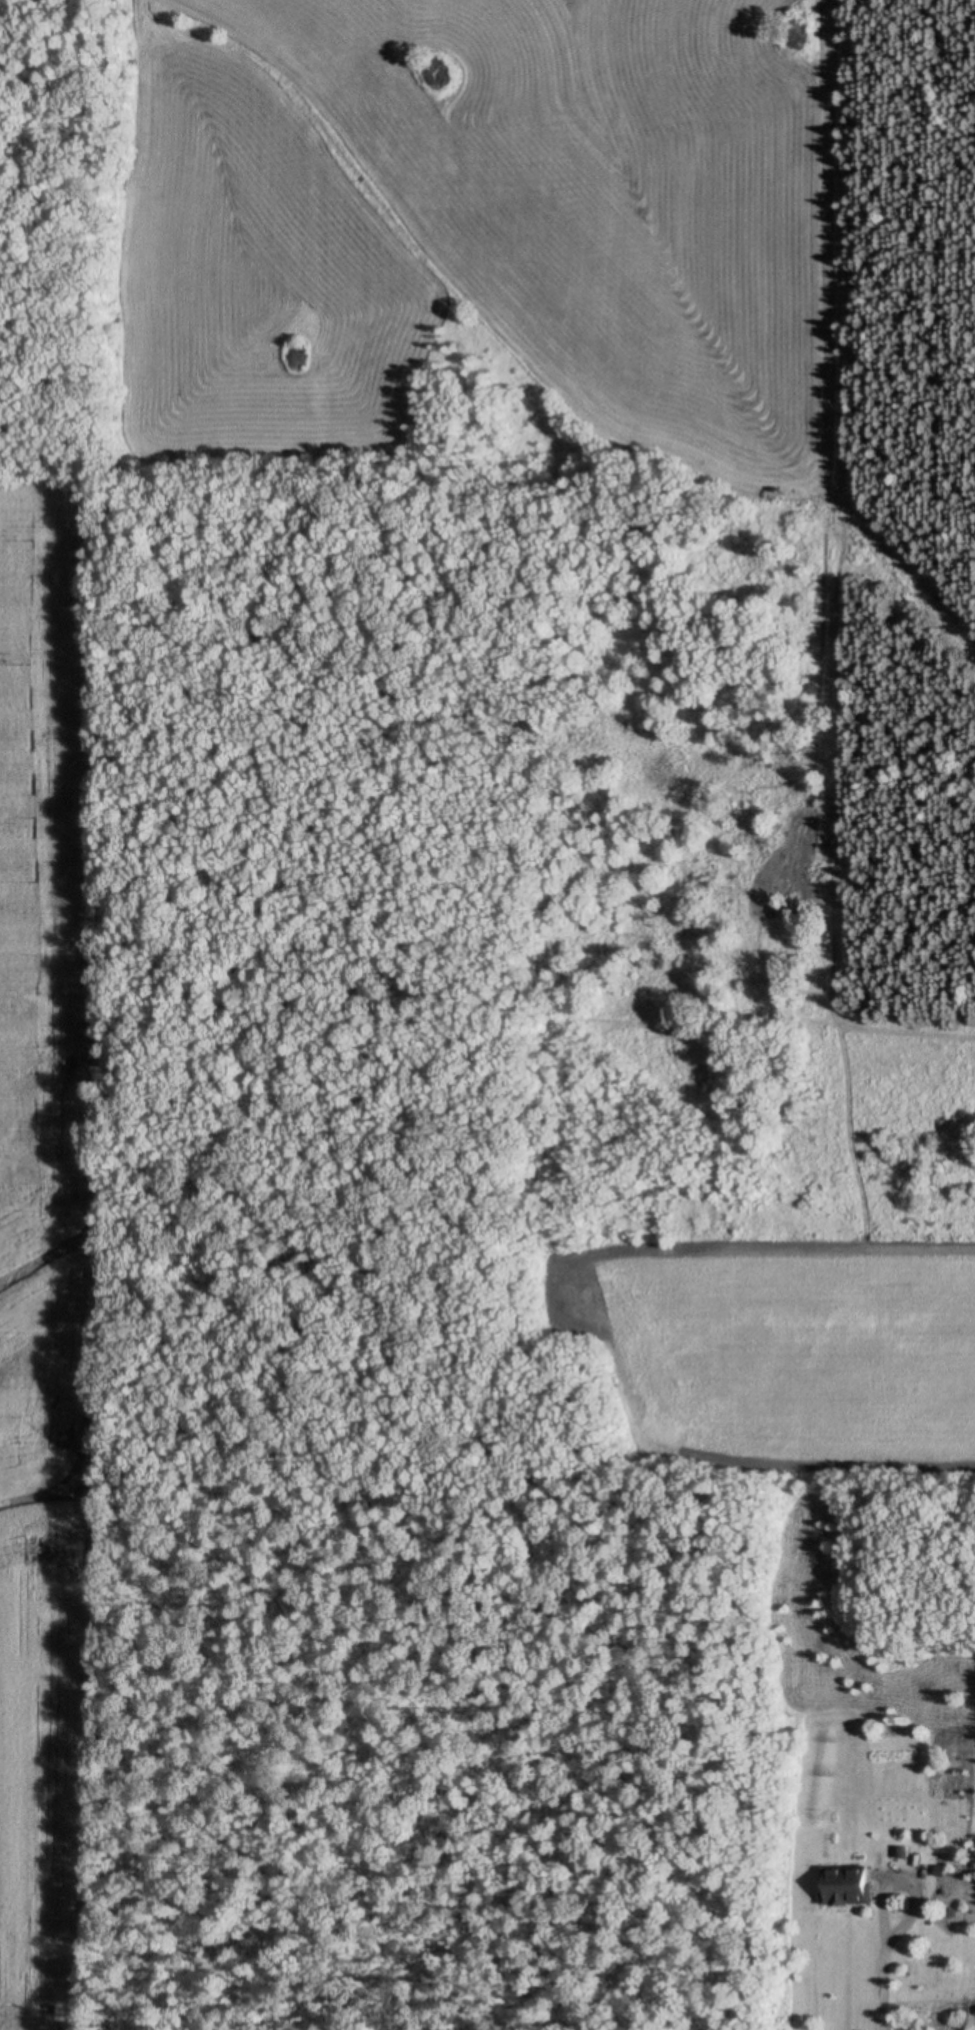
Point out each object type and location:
road: (896, 1877)
building: (843, 1886)
road: (874, 1989)

